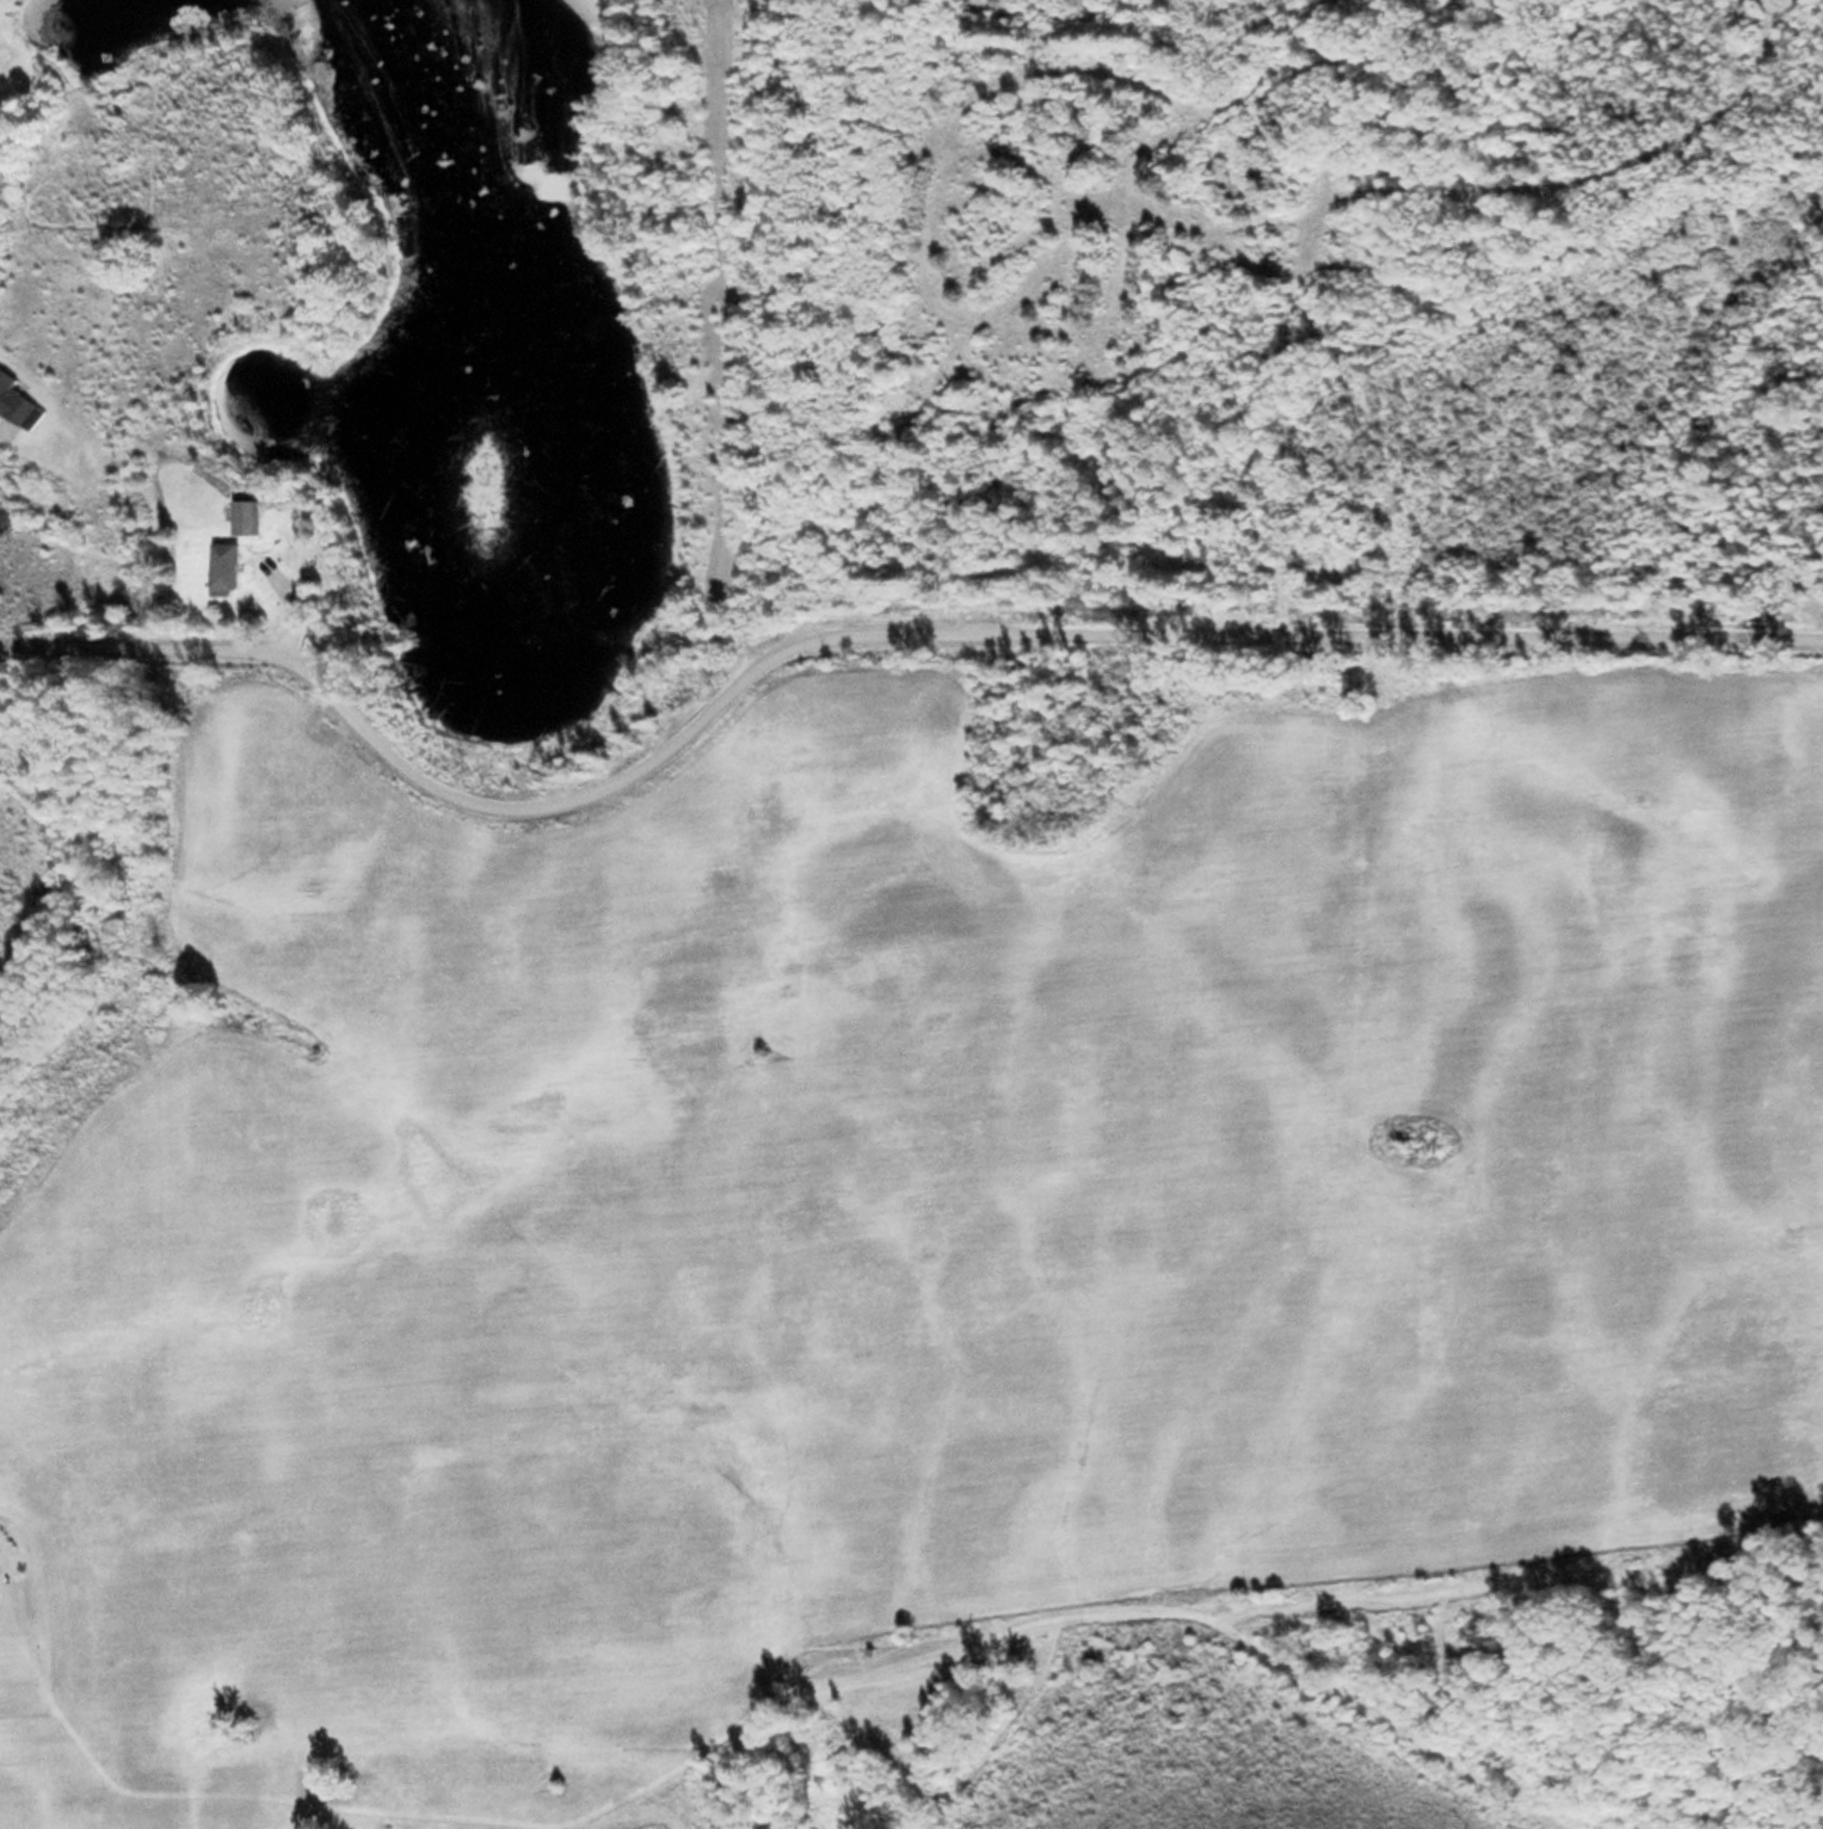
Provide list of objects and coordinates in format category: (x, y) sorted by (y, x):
building: (17, 402)
building: (248, 516)
building: (229, 569)
road: (852, 623)

